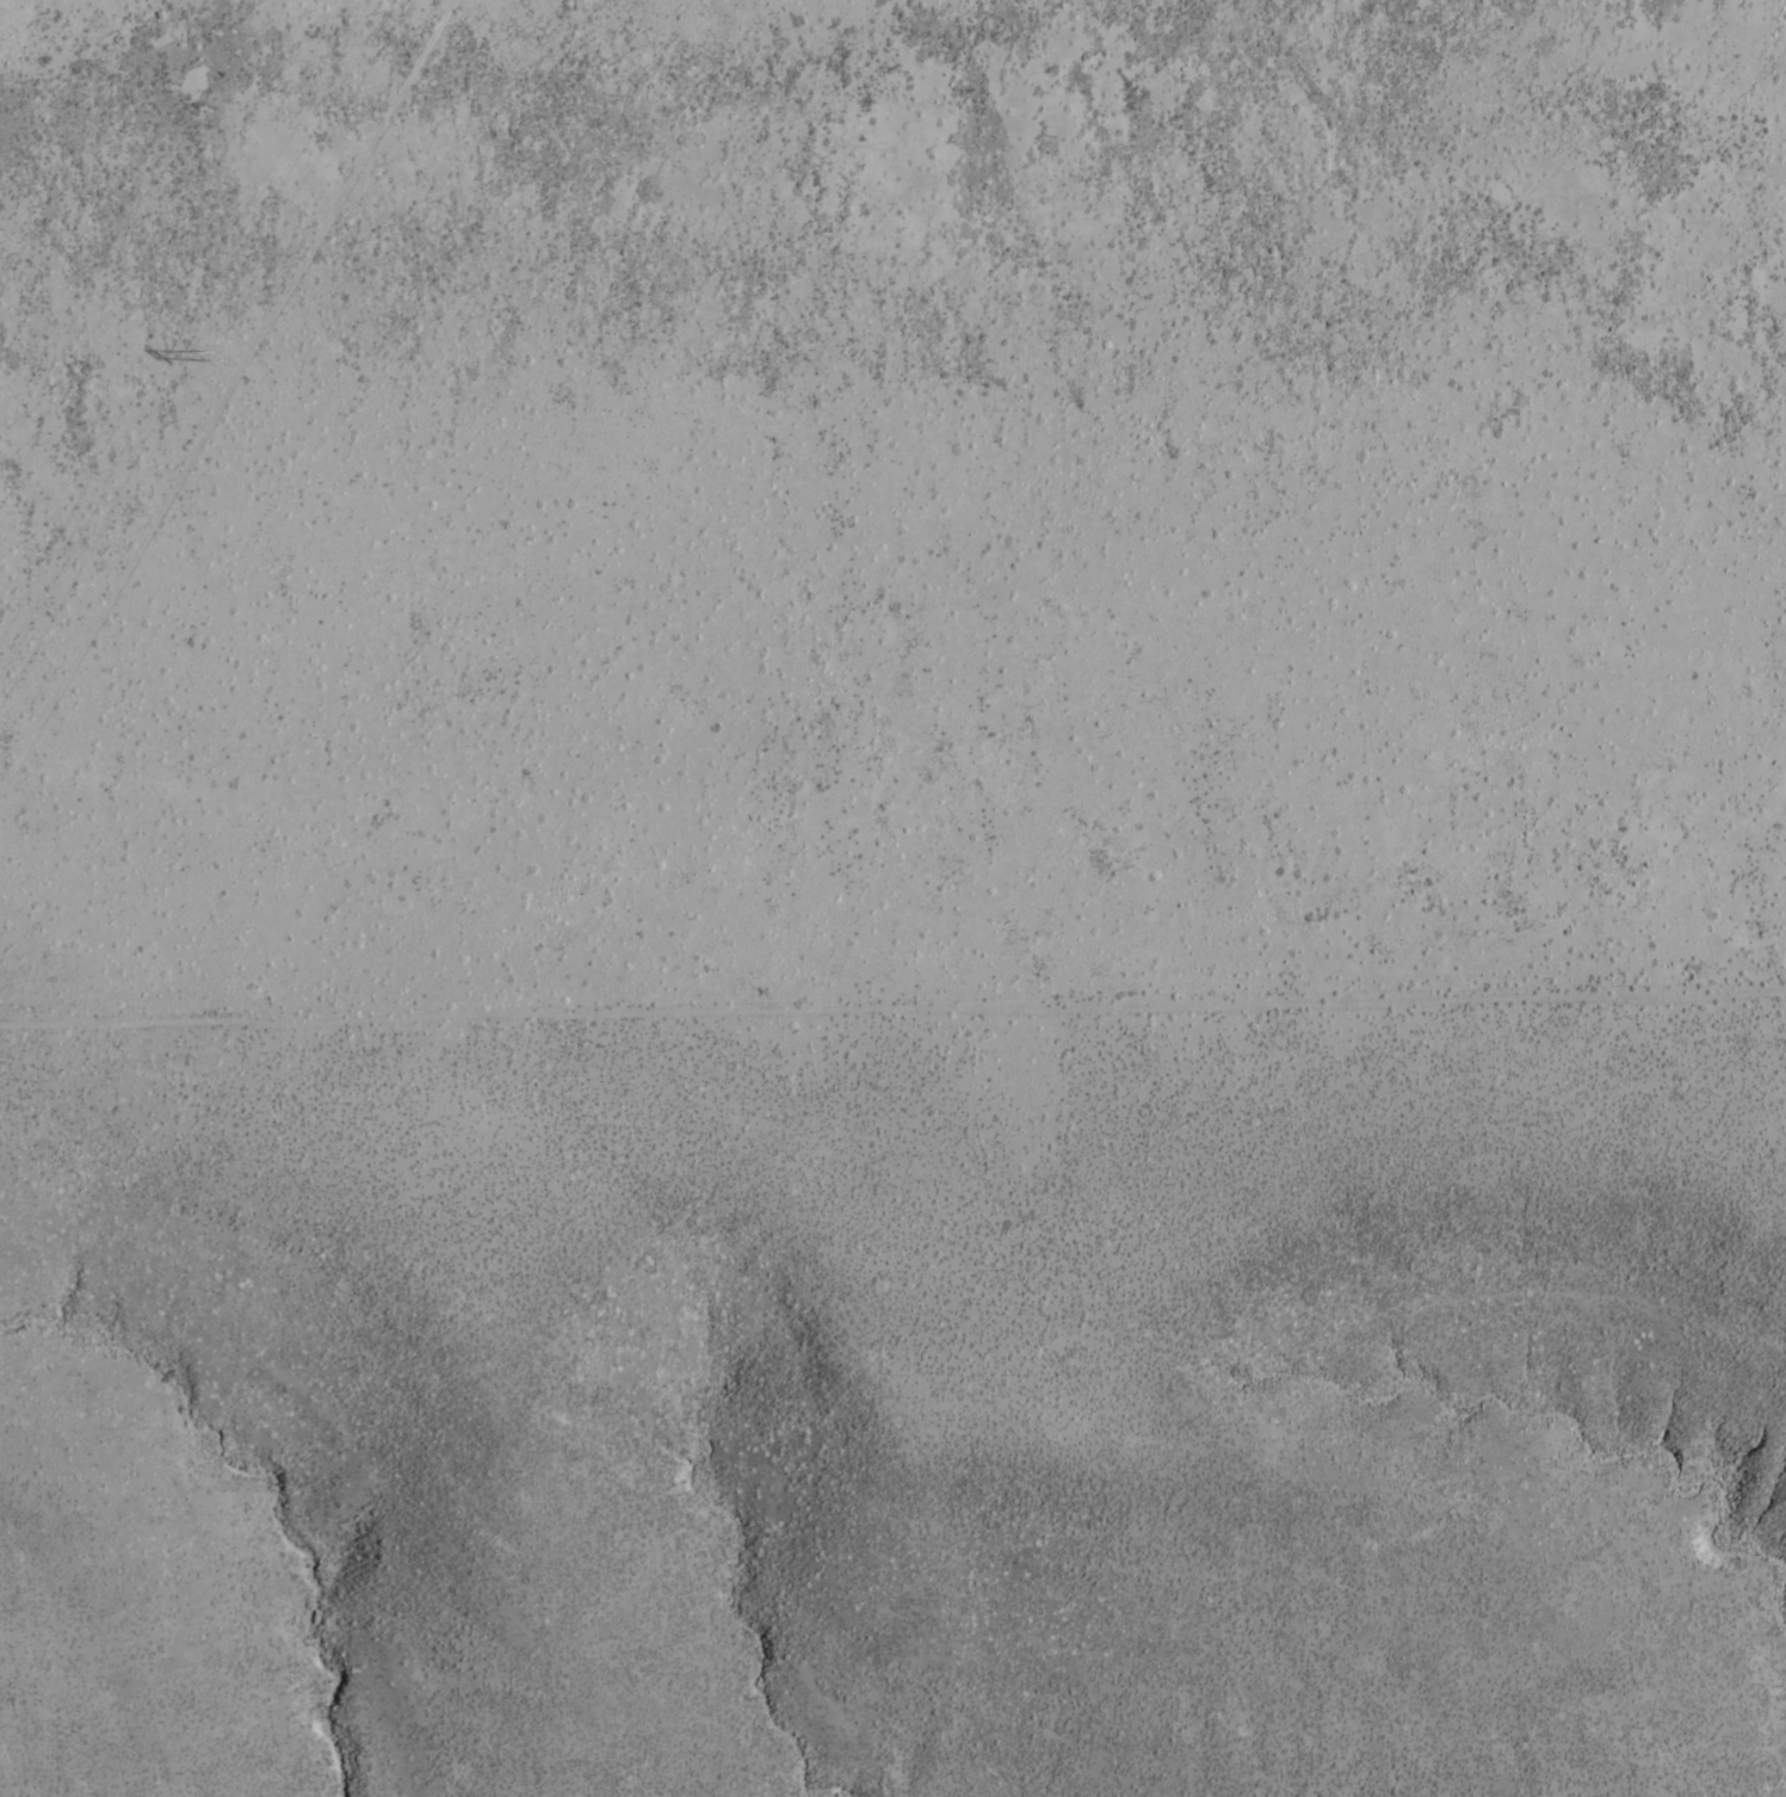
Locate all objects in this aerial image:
power tower: (216, 354)
road: (228, 395)
road: (26, 1026)

